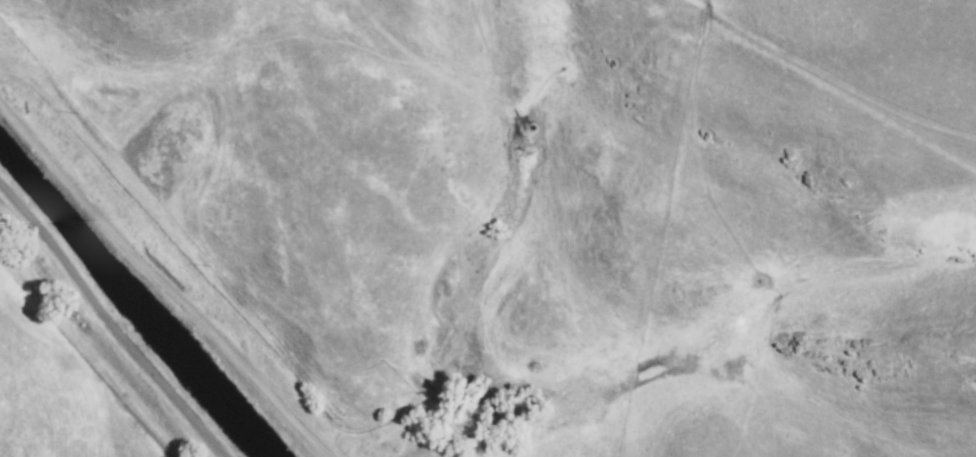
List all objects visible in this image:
road: (745, 14)
road: (237, 230)
road: (103, 356)

